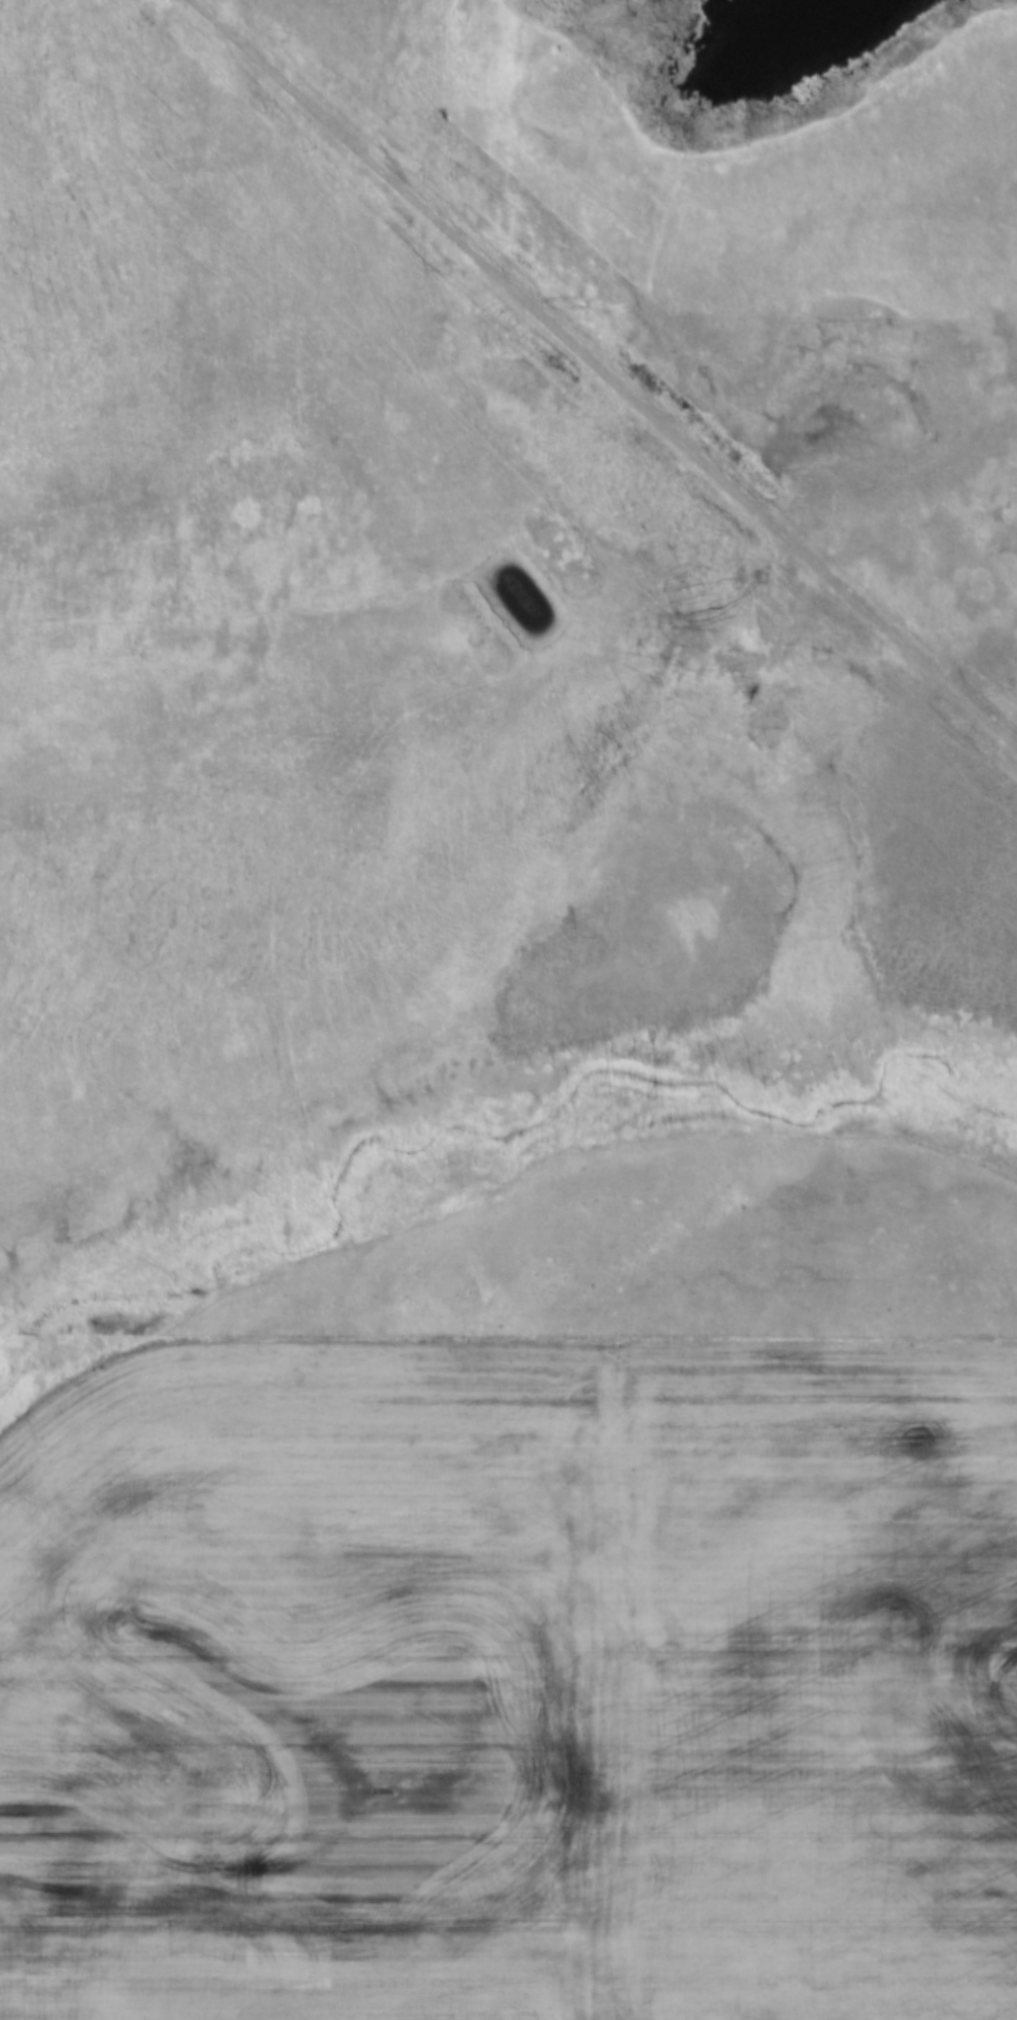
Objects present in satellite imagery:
road: (626, 1685)

